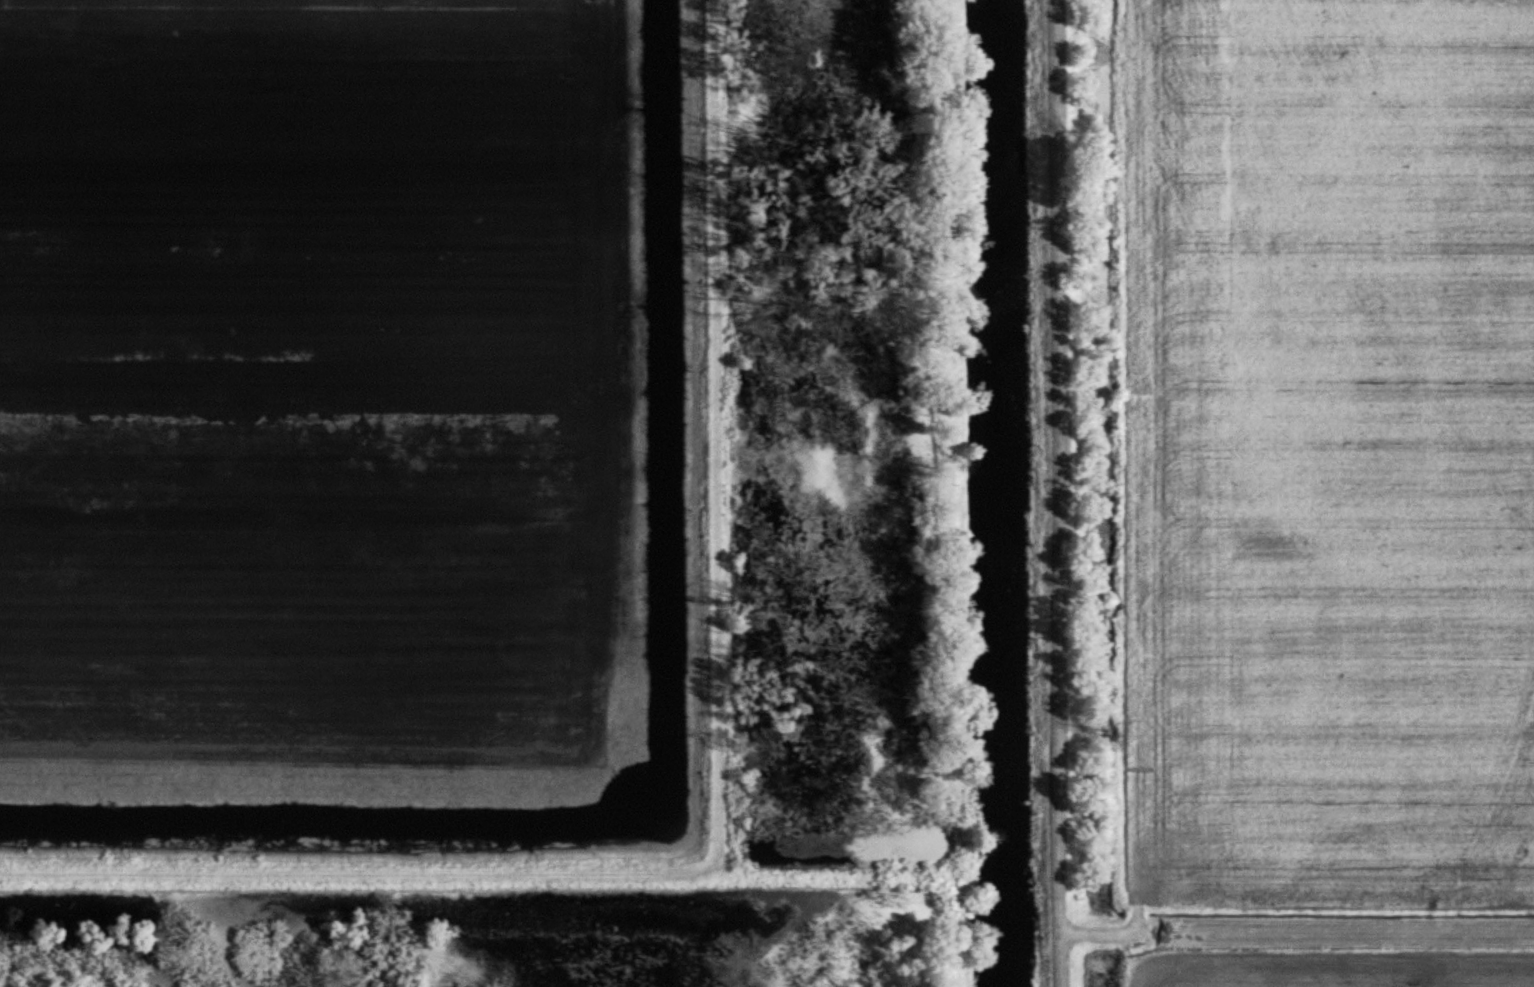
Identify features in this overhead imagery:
crop: (1328, 450)
road: (1057, 463)
crop: (1330, 969)

